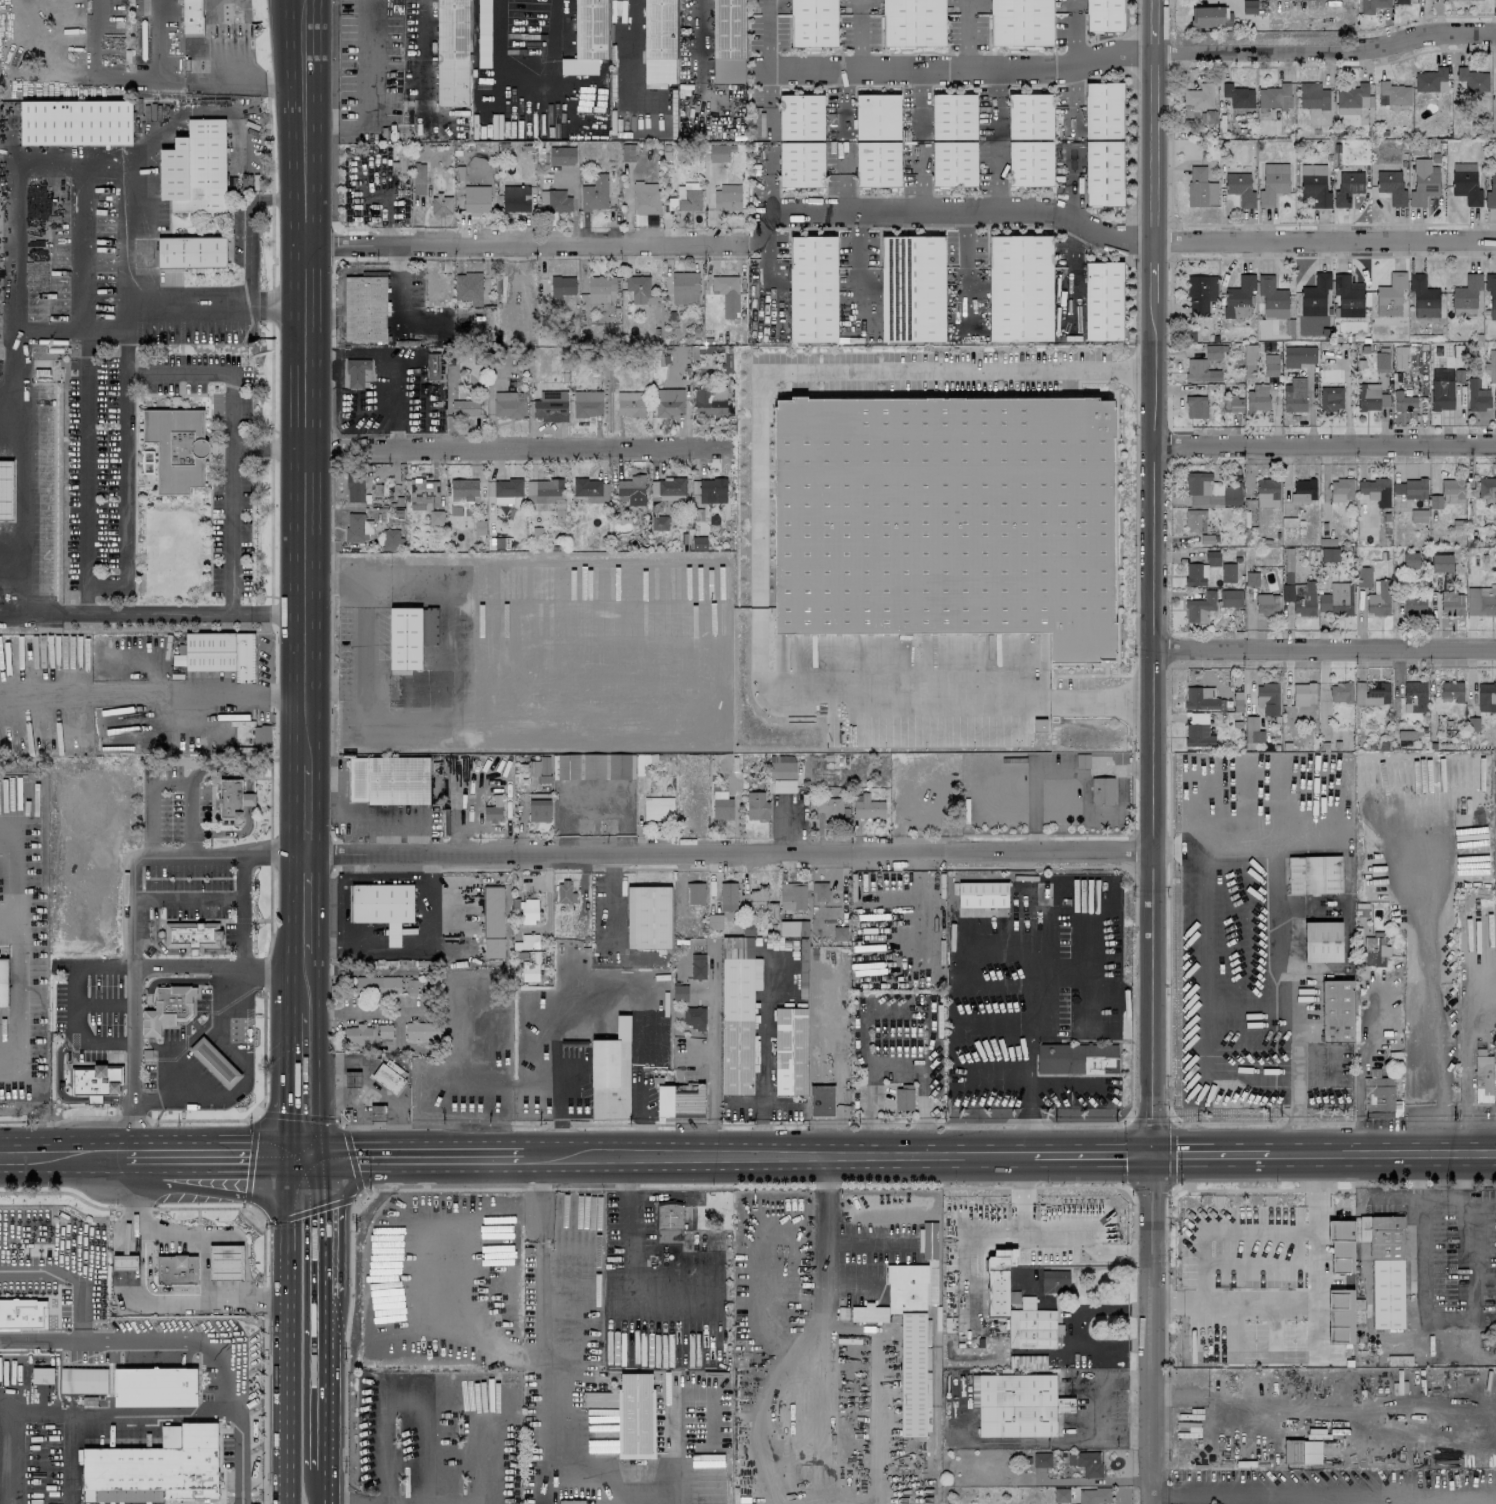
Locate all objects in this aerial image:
building: (1401, 1)
building: (1372, 5)
building: (1248, 6)
building: (192, 14)
building: (1104, 15)
road: (1137, 16)
building: (1210, 16)
building: (912, 22)
building: (813, 23)
building: (1020, 23)
road: (1072, 29)
building: (483, 33)
road: (855, 33)
road: (963, 33)
building: (587, 38)
road: (101, 39)
road: (164, 40)
road: (1099, 40)
building: (659, 41)
building: (728, 41)
road: (1073, 47)
road: (1328, 51)
building: (451, 52)
road: (1133, 53)
road: (929, 67)
road: (525, 69)
road: (89, 77)
road: (238, 78)
building: (1472, 79)
building: (1431, 80)
road: (1073, 81)
building: (1495, 89)
road: (1071, 93)
building: (1393, 94)
building: (1238, 95)
building: (1353, 95)
road: (1073, 97)
building: (1274, 97)
building: (1313, 97)
building: (1197, 100)
road: (1137, 109)
building: (1103, 110)
building: (953, 115)
building: (800, 116)
building: (877, 116)
building: (1029, 116)
building: (1207, 116)
road: (288, 119)
road: (312, 119)
building: (75, 122)
building: (718, 153)
building: (562, 155)
building: (1029, 162)
building: (801, 164)
building: (878, 164)
building: (954, 164)
building: (194, 168)
building: (418, 173)
building: (1103, 173)
building: (1423, 182)
building: (1273, 183)
building: (1466, 183)
building: (1314, 184)
road: (1072, 185)
building: (1201, 187)
building: (1347, 187)
building: (1391, 187)
building: (1240, 188)
building: (1491, 192)
building: (595, 193)
road: (273, 197)
building: (645, 197)
building: (689, 197)
building: (727, 197)
building: (516, 198)
building: (476, 199)
building: (554, 201)
road: (1074, 204)
building: (442, 205)
road: (966, 209)
road: (1108, 220)
road: (965, 235)
road: (859, 236)
road: (1326, 237)
road: (18, 238)
road: (1072, 239)
road: (1132, 239)
road: (520, 243)
building: (190, 252)
road: (248, 252)
road: (1072, 274)
building: (436, 284)
building: (562, 285)
building: (468, 287)
building: (684, 287)
building: (1020, 287)
road: (1136, 287)
road: (396, 288)
building: (600, 288)
building: (638, 288)
building: (912, 288)
building: (813, 289)
building: (727, 293)
building: (1201, 293)
building: (1491, 293)
building: (1390, 294)
building: (1315, 295)
building: (1465, 295)
building: (1348, 296)
building: (1239, 297)
building: (1423, 297)
building: (1272, 298)
building: (1102, 301)
road: (214, 307)
building: (365, 308)
building: (1213, 352)
road: (397, 353)
building: (1298, 356)
building: (1249, 361)
building: (1381, 361)
building: (1271, 364)
building: (1491, 366)
road: (86, 371)
road: (1130, 371)
building: (1200, 371)
road: (1078, 380)
building: (1442, 389)
building: (1295, 395)
building: (1477, 395)
building: (1257, 397)
building: (1370, 397)
building: (709, 401)
building: (1403, 401)
building: (668, 402)
building: (1330, 402)
building: (507, 403)
building: (587, 403)
building: (630, 403)
building: (1233, 403)
building: (550, 405)
building: (1196, 406)
building: (464, 408)
road: (1326, 445)
road: (512, 446)
building: (176, 447)
building: (667, 488)
building: (1341, 488)
building: (1410, 488)
building: (1487, 488)
building: (354, 489)
building: (591, 489)
building: (632, 489)
building: (6, 490)
building: (423, 490)
building: (506, 490)
building: (544, 490)
building: (712, 490)
building: (1303, 490)
building: (1375, 490)
building: (1211, 491)
building: (1452, 491)
building: (1267, 492)
building: (461, 495)
road: (304, 498)
road: (126, 512)
road: (1114, 514)
building: (1417, 515)
building: (945, 518)
building: (1193, 519)
building: (435, 521)
building: (356, 526)
road: (228, 530)
road: (758, 537)
building: (391, 538)
building: (1329, 554)
building: (1212, 558)
building: (1410, 559)
building: (1441, 562)
building: (1228, 572)
building: (1195, 574)
road: (1156, 576)
building: (1363, 576)
building: (1251, 578)
road: (428, 584)
building: (1303, 598)
building: (1336, 599)
building: (1379, 600)
building: (1481, 601)
building: (1414, 603)
building: (1451, 603)
building: (1210, 604)
building: (1267, 604)
building: (411, 635)
road: (275, 648)
road: (1326, 648)
building: (221, 653)
building: (178, 656)
road: (1102, 674)
road: (153, 691)
building: (1451, 691)
building: (1341, 692)
building: (1371, 692)
building: (1303, 693)
road: (625, 696)
building: (1414, 696)
building: (1486, 696)
building: (1267, 697)
building: (1201, 698)
road: (1131, 701)
building: (1252, 729)
building: (1198, 731)
building: (782, 773)
road: (175, 777)
building: (388, 780)
building: (1102, 790)
building: (539, 796)
building: (230, 799)
building: (248, 799)
building: (721, 803)
building: (757, 805)
road: (304, 807)
building: (867, 807)
building: (658, 808)
building: (831, 808)
building: (539, 810)
road: (453, 821)
road: (1098, 834)
road: (8, 844)
road: (728, 849)
road: (1133, 850)
building: (1314, 874)
road: (17, 889)
building: (820, 891)
building: (565, 892)
building: (695, 892)
building: (982, 894)
building: (792, 895)
building: (728, 896)
road: (194, 900)
road: (306, 901)
building: (762, 903)
building: (525, 909)
building: (648, 917)
building: (1479, 920)
building: (714, 921)
building: (492, 922)
road: (139, 923)
building: (793, 928)
building: (748, 929)
road: (8, 933)
building: (191, 936)
road: (249, 937)
building: (1463, 939)
building: (1322, 941)
building: (527, 942)
building: (1375, 950)
road: (194, 959)
building: (697, 965)
road: (308, 970)
building: (530, 970)
road: (1079, 971)
road: (1431, 981)
building: (3, 982)
building: (386, 984)
building: (680, 992)
road: (607, 1001)
road: (77, 1002)
road: (308, 1002)
road: (1222, 1005)
road: (17, 1010)
building: (1337, 1010)
road: (373, 1012)
building: (738, 1015)
building: (825, 1015)
building: (161, 1018)
building: (694, 1018)
road: (1131, 1028)
building: (421, 1030)
road: (1168, 1031)
building: (366, 1033)
building: (790, 1051)
road: (768, 1055)
building: (1076, 1058)
building: (214, 1062)
road: (898, 1063)
road: (1359, 1064)
road: (1031, 1065)
road: (712, 1067)
road: (251, 1071)
building: (611, 1073)
building: (95, 1082)
road: (304, 1084)
building: (1382, 1095)
building: (904, 1097)
building: (664, 1099)
building: (822, 1100)
building: (689, 1102)
road: (339, 1118)
road: (606, 1124)
road: (1032, 1130)
road: (1211, 1152)
road: (1381, 1152)
road: (846, 1153)
road: (898, 1153)
road: (979, 1153)
road: (1094, 1153)
road: (1172, 1153)
road: (373, 1154)
road: (471, 1154)
road: (660, 1154)
road: (227, 1155)
road: (123, 1156)
traffic signals: (303, 1156)
road: (48, 1157)
road: (776, 1187)
road: (1260, 1189)
building: (669, 1223)
road: (322, 1224)
road: (207, 1231)
road: (982, 1235)
road: (823, 1237)
road: (197, 1238)
building: (928, 1240)
road: (1084, 1245)
building: (1341, 1245)
building: (124, 1262)
building: (227, 1262)
road: (628, 1264)
building: (1385, 1268)
building: (1054, 1281)
road: (151, 1293)
road: (1310, 1301)
building: (23, 1313)
building: (1340, 1315)
road: (1447, 1318)
road: (320, 1319)
road: (263, 1322)
building: (1032, 1326)
road: (1080, 1326)
road: (284, 1328)
road: (1154, 1328)
building: (907, 1334)
road: (119, 1336)
road: (544, 1356)
building: (42, 1375)
building: (83, 1380)
building: (154, 1386)
building: (1017, 1405)
road: (320, 1407)
road: (169, 1408)
building: (635, 1416)
building: (1302, 1451)
building: (1041, 1459)
building: (1086, 1462)
building: (157, 1467)
road: (320, 1487)
road: (1258, 1491)
building: (1061, 1495)
building: (1094, 1495)
road: (247, 1500)
building: (571, 1502)
road: (359, 1503)
road: (399, 1503)
road: (432, 1503)

